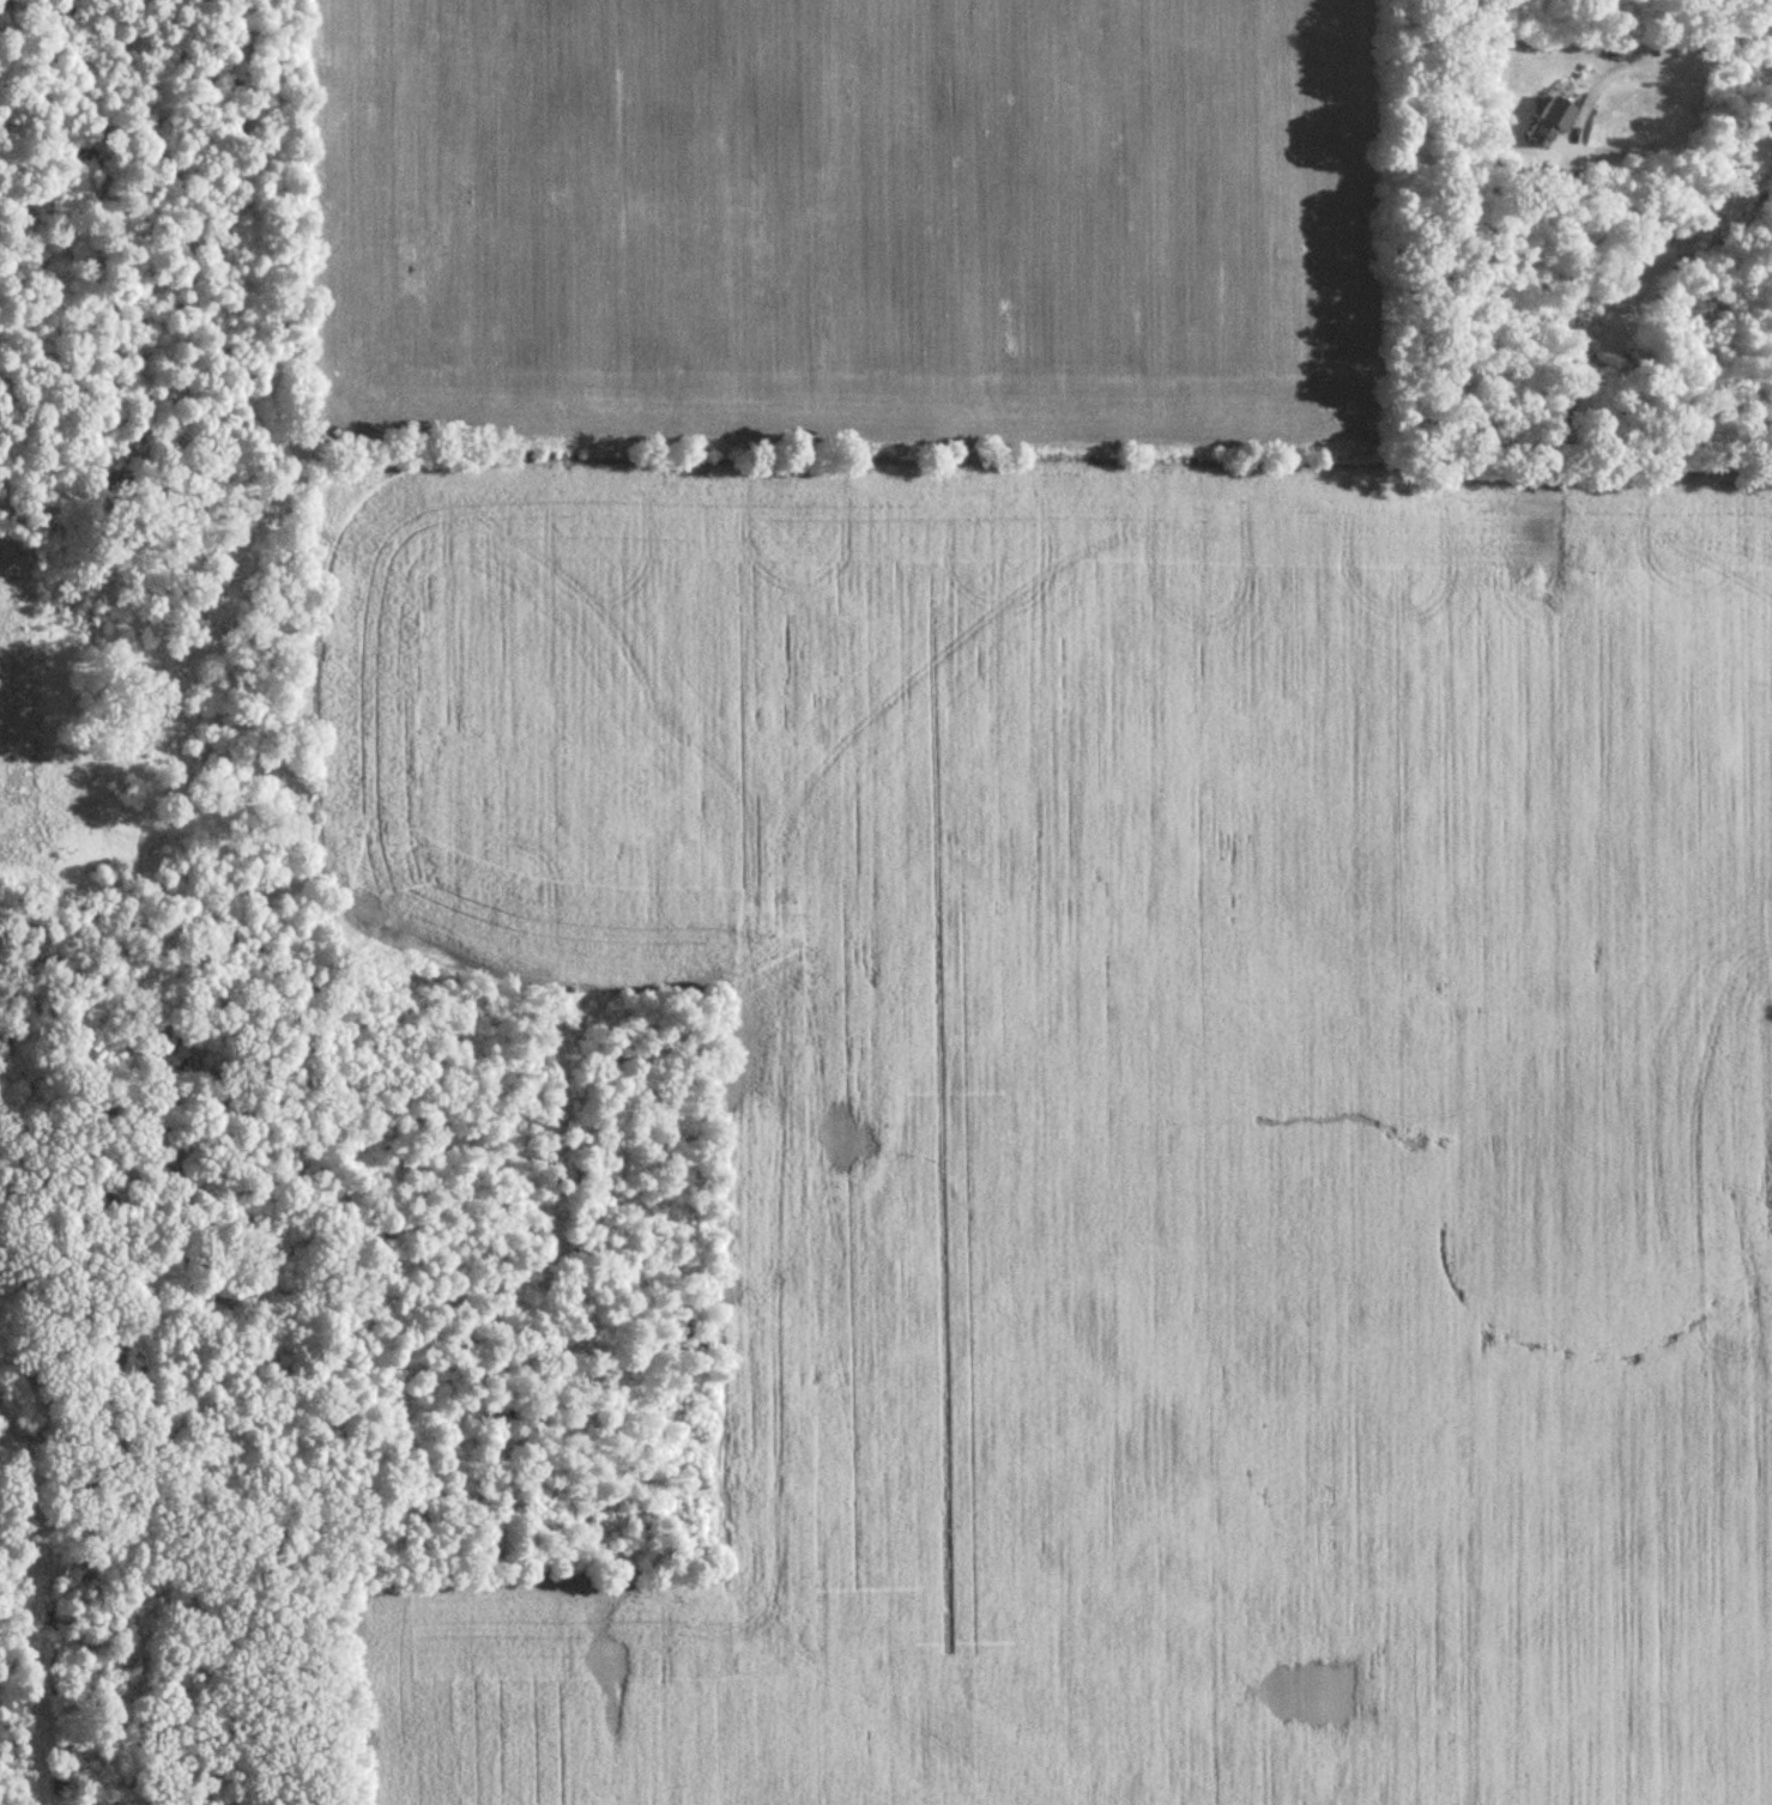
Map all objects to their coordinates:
road: (1732, 37)
building: (1550, 125)
road: (1576, 150)

